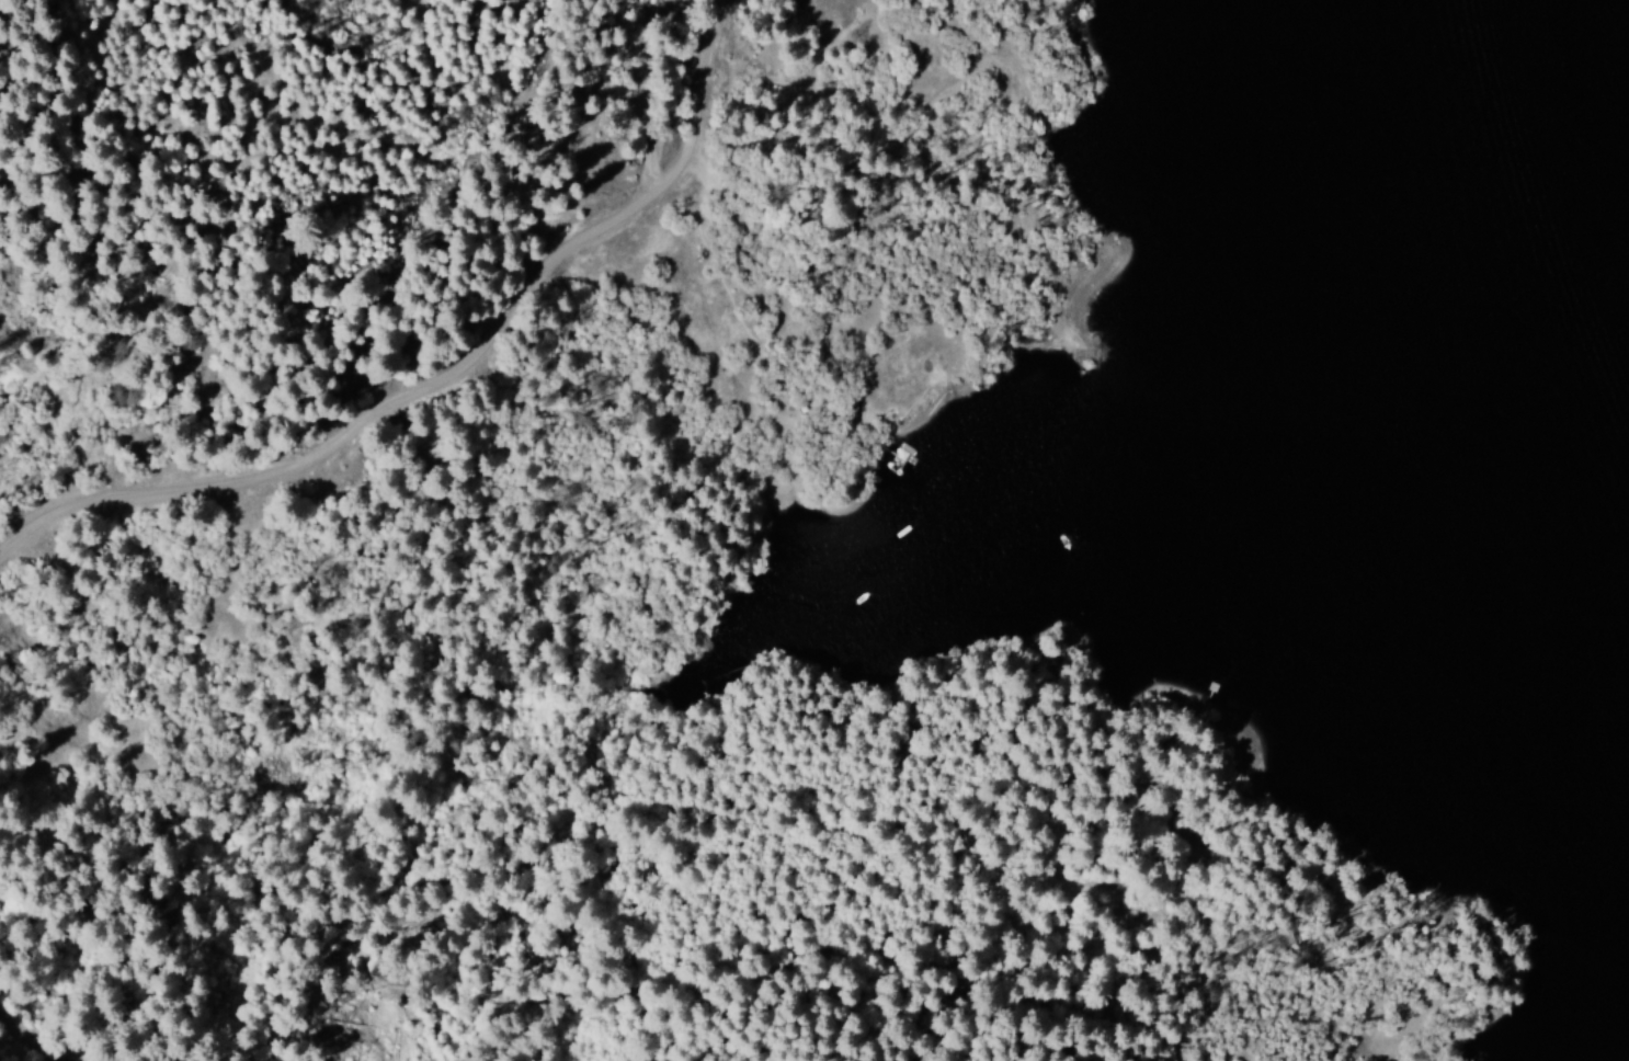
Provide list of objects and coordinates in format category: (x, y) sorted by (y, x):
river: (1480, 73)
river: (1572, 228)
road: (472, 404)
road: (945, 1023)
road: (18, 1048)

